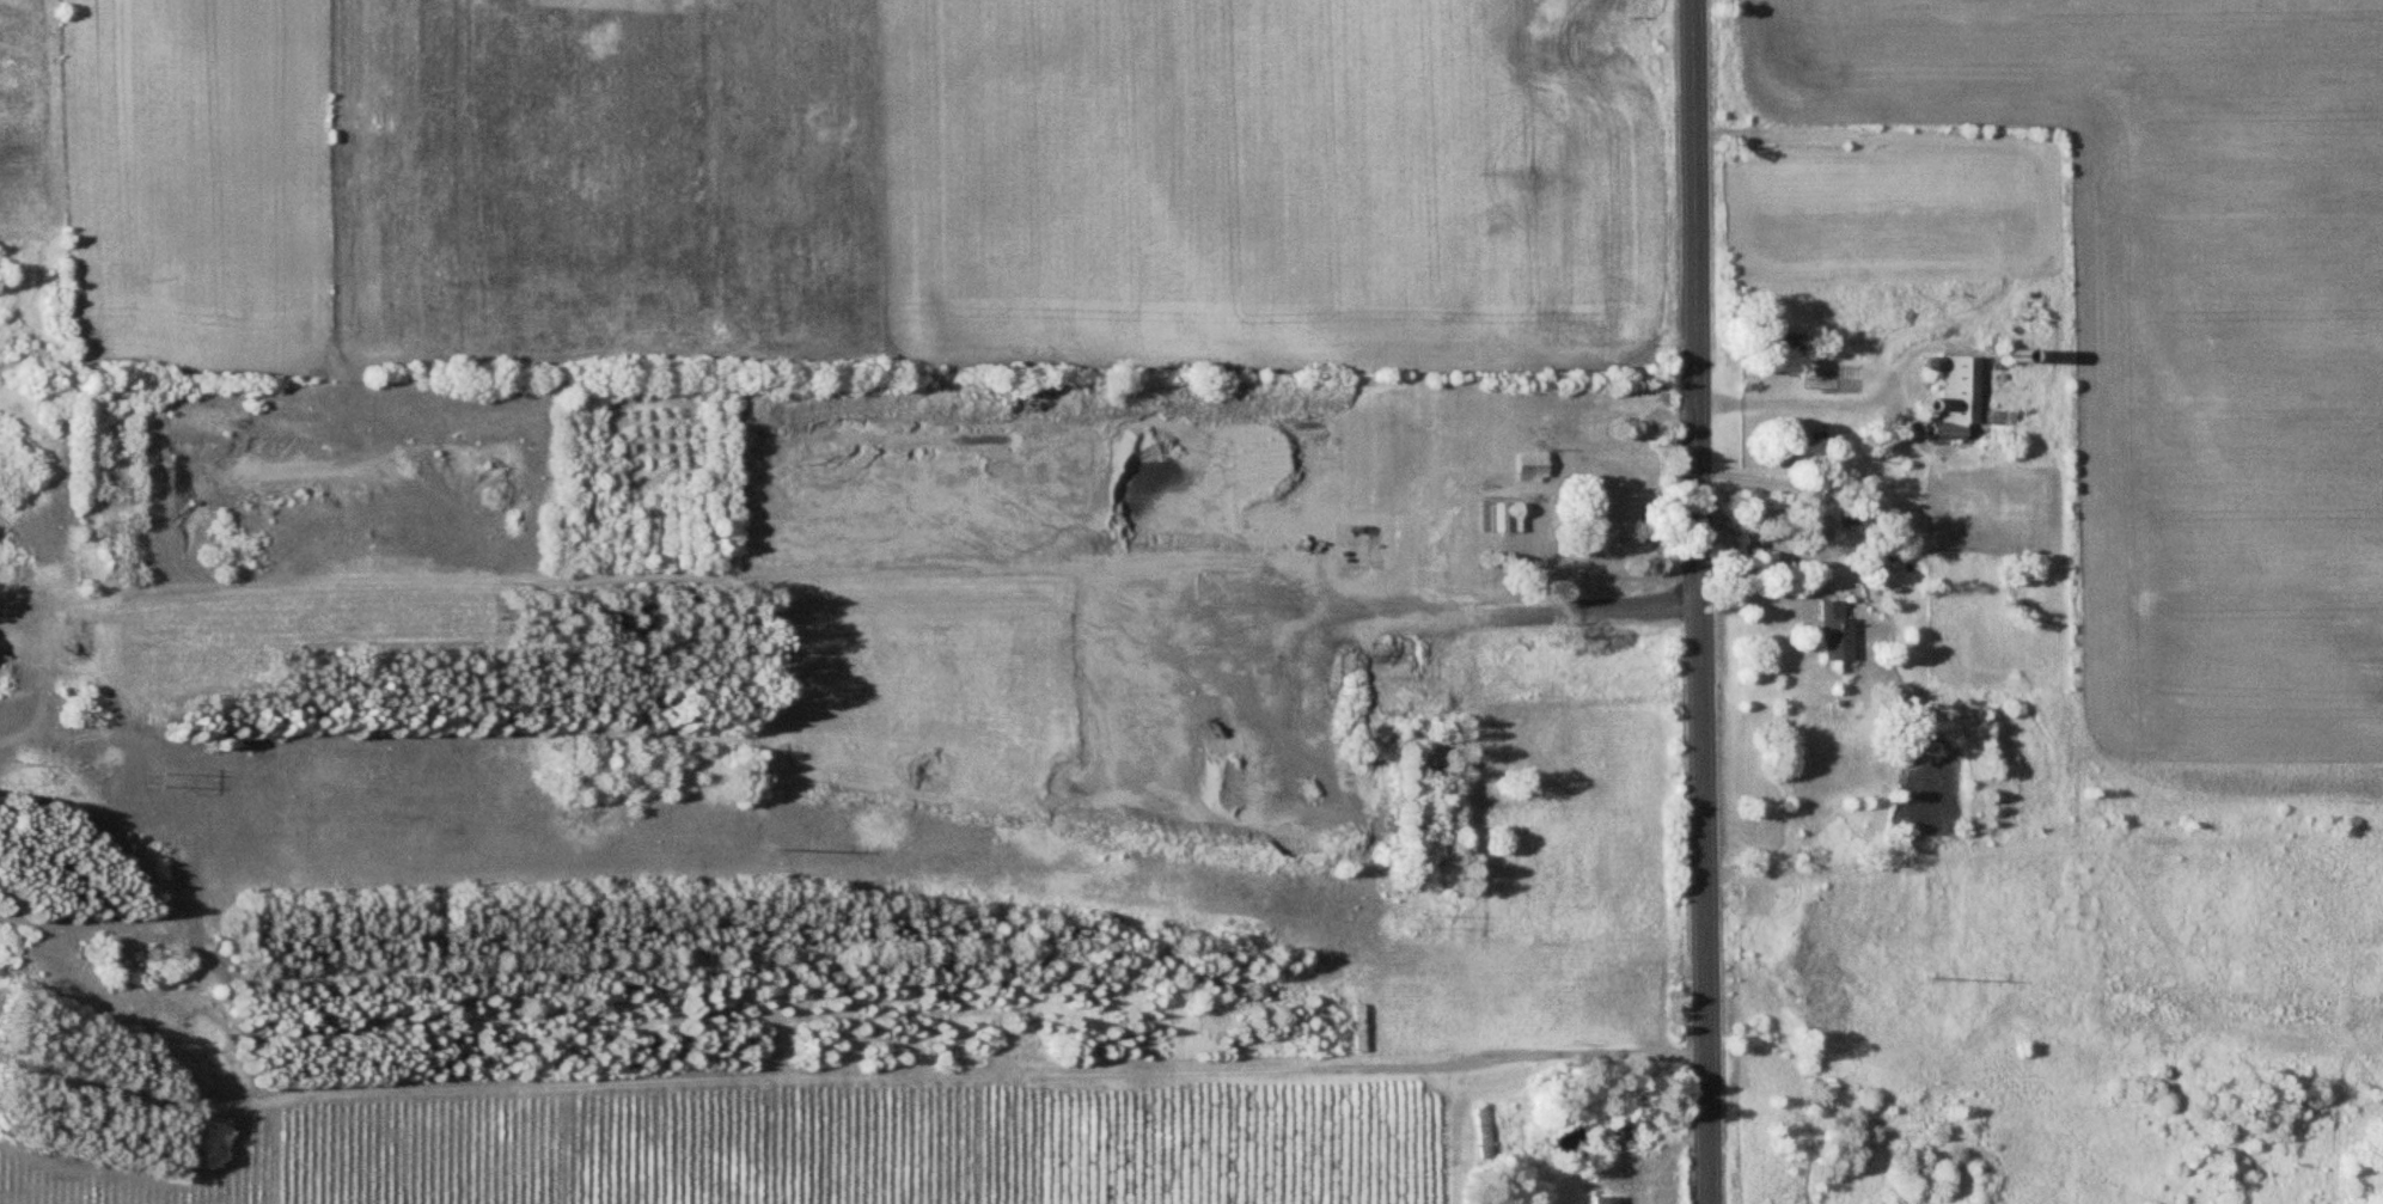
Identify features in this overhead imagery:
building: (1959, 397)
building: (1532, 466)
road: (1791, 485)
building: (1501, 518)
road: (1701, 601)
building: (1835, 632)
power tower: (158, 780)
power tower: (789, 849)
power tower: (1428, 919)
power tower: (1947, 978)
building: (1603, 1199)

